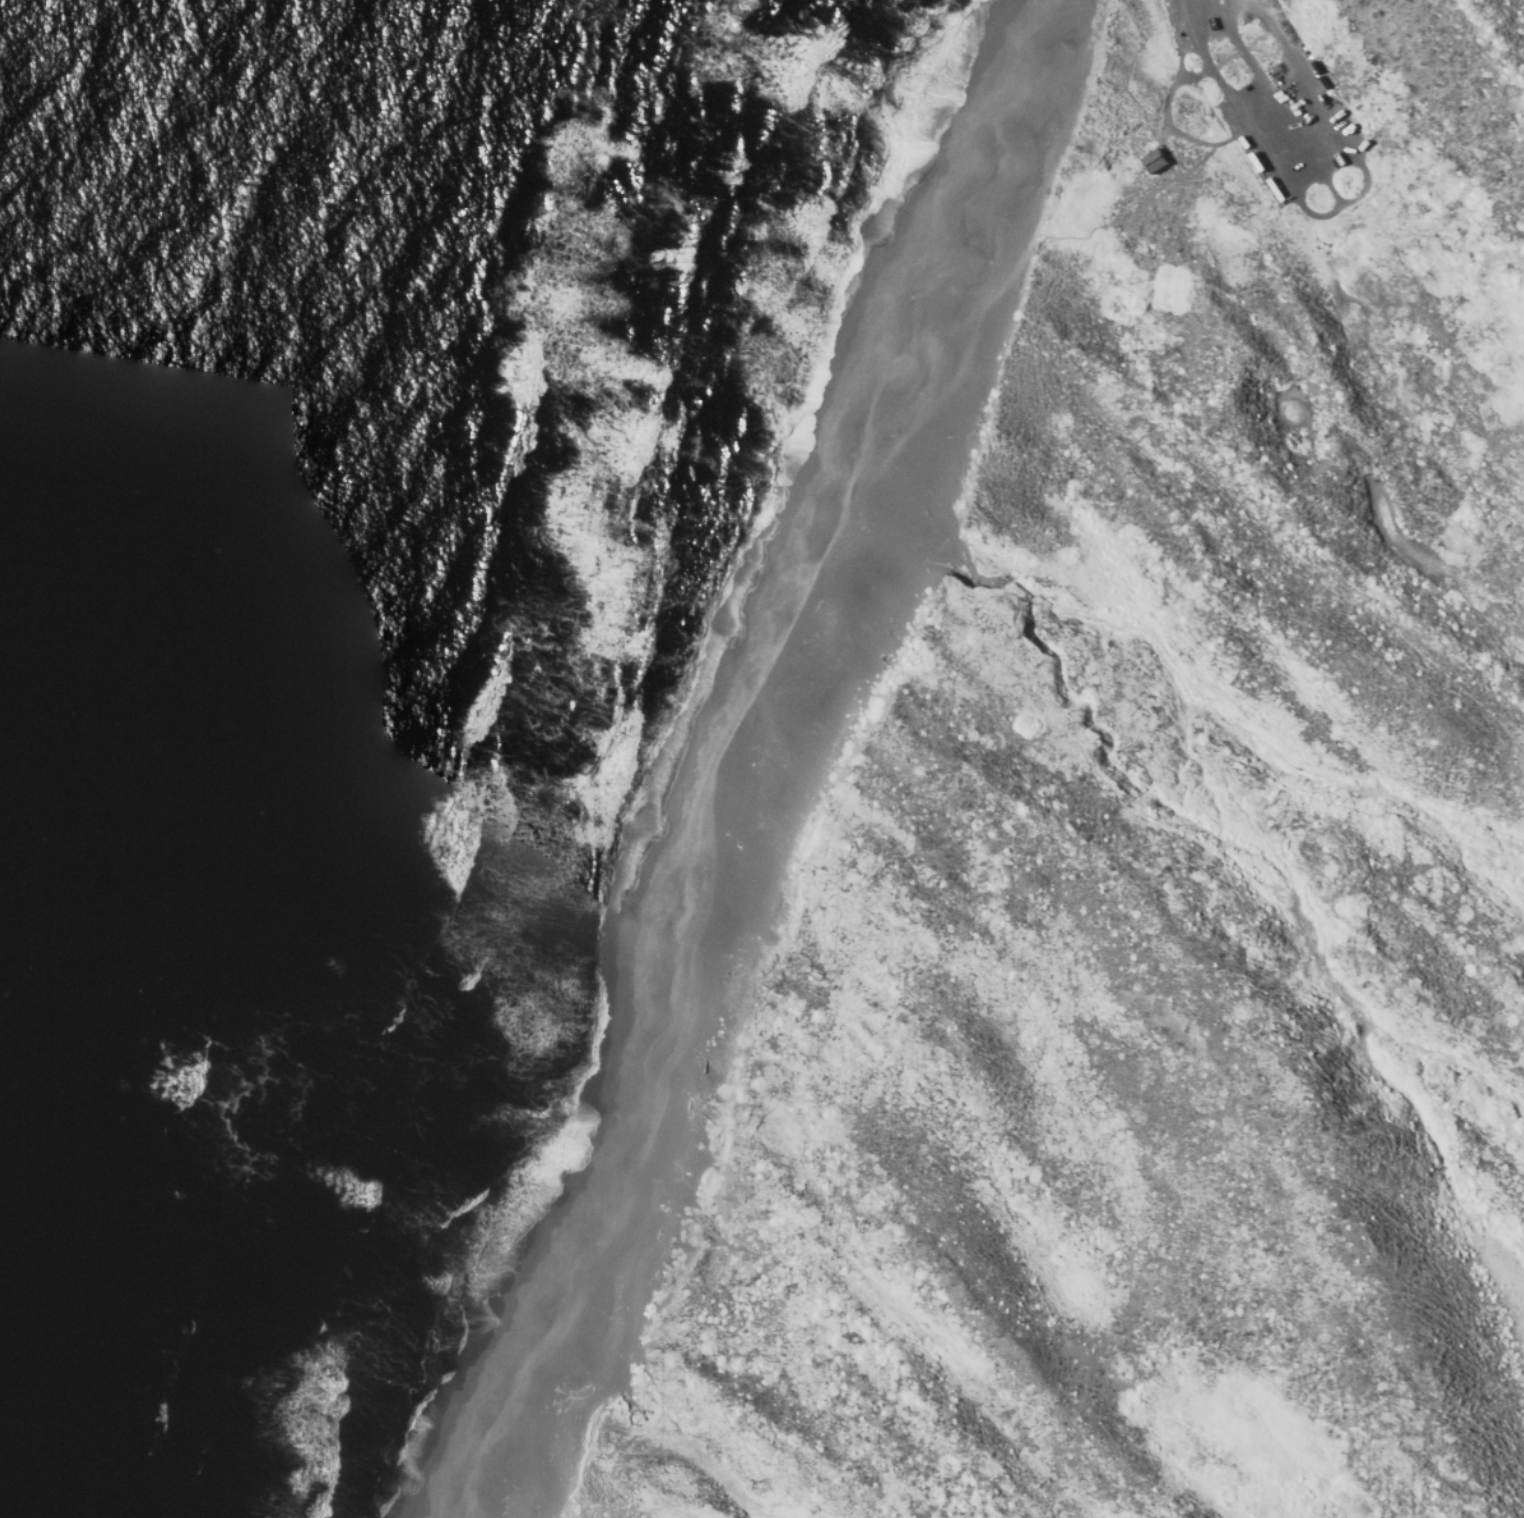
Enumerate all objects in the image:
road: (1236, 57)
parking lot: (1276, 98)
road: (1277, 106)
road: (1218, 118)
road: (1173, 130)
road: (1111, 143)
road: (1177, 171)
road: (1325, 217)

